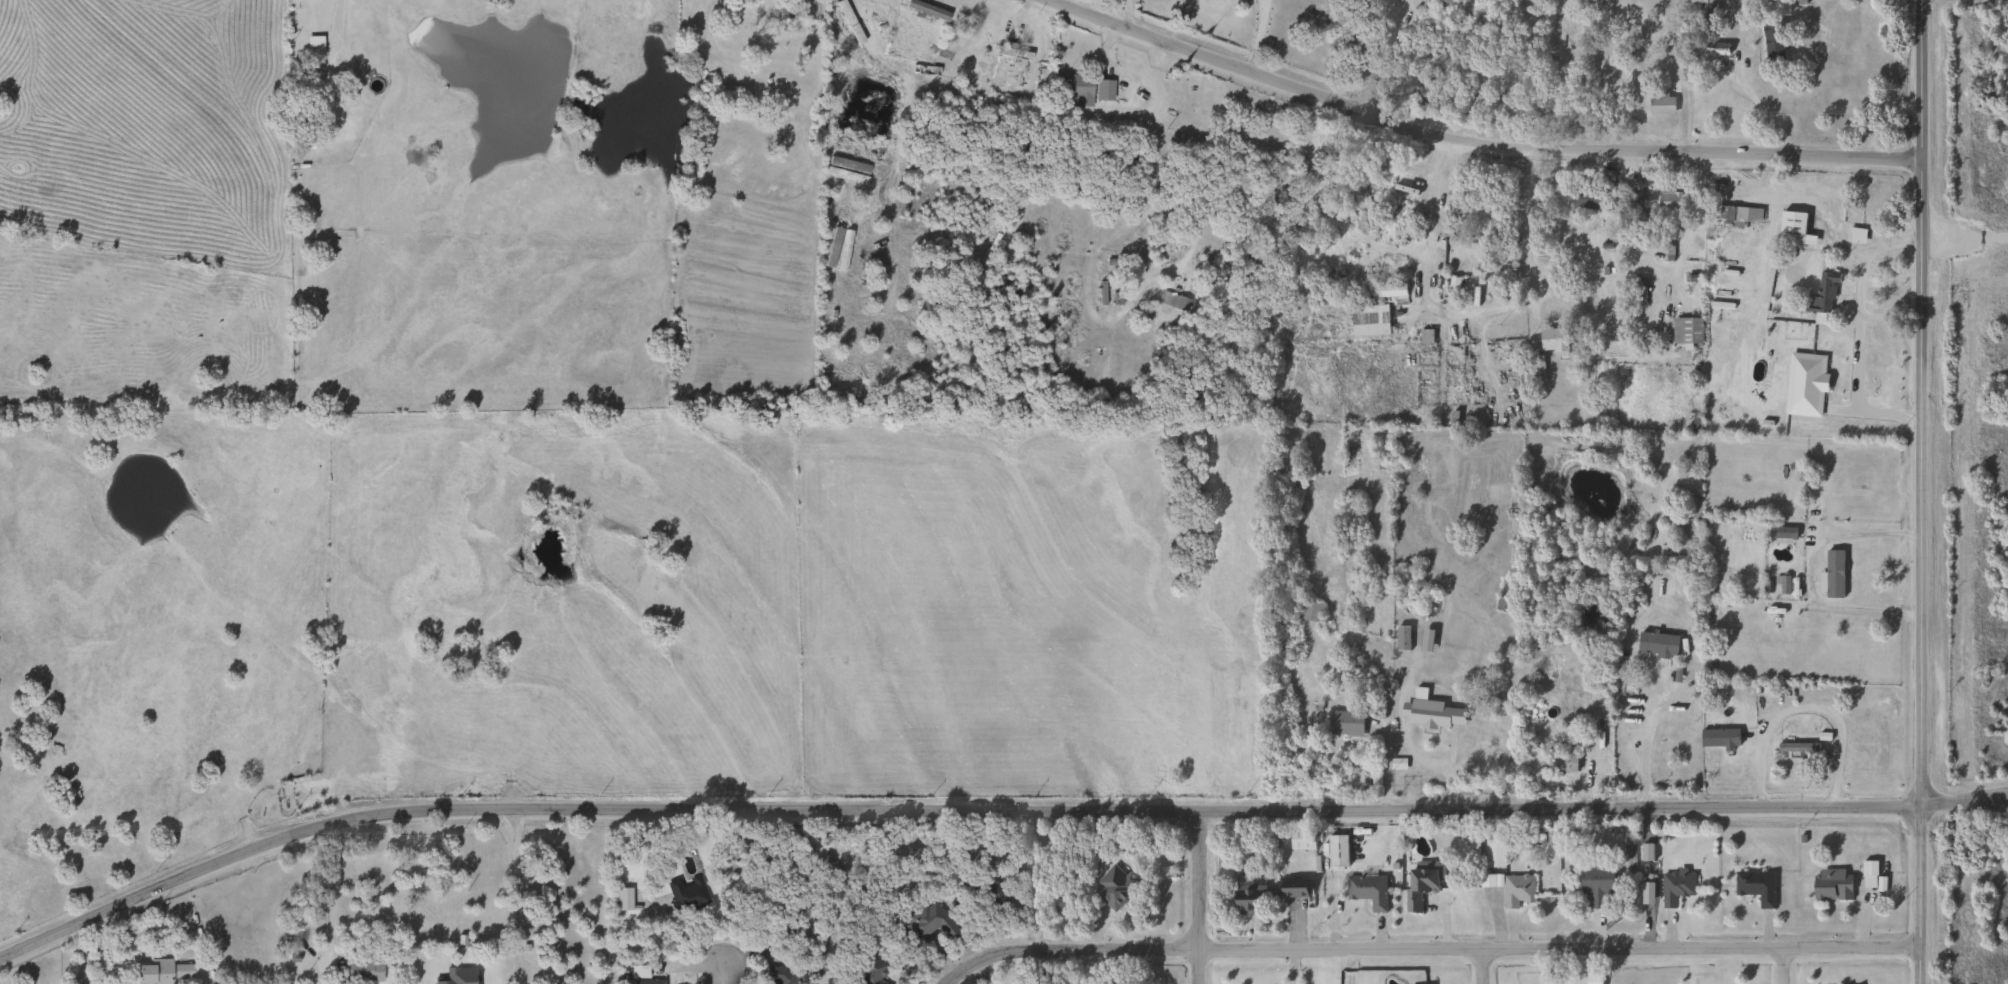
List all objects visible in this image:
road: (1059, 2)
building: (1715, 6)
building: (925, 10)
road: (1255, 35)
building: (1773, 43)
building: (1010, 53)
road: (1383, 55)
building: (1073, 89)
building: (1101, 91)
building: (1661, 104)
road: (1768, 111)
road: (1472, 140)
building: (1605, 178)
building: (1591, 200)
building: (1670, 201)
building: (1635, 206)
building: (1734, 214)
building: (1792, 228)
building: (1854, 235)
building: (1390, 290)
building: (1822, 300)
building: (1176, 303)
road: (1891, 312)
road: (1469, 314)
building: (1369, 320)
road: (1859, 329)
building: (1687, 330)
building: (1552, 339)
road: (1923, 492)
building: (1782, 532)
road: (1808, 573)
building: (1834, 574)
building: (1310, 609)
building: (1402, 637)
building: (1663, 644)
road: (1803, 705)
building: (1434, 712)
building: (1345, 723)
building: (1719, 738)
building: (1797, 748)
road: (1644, 749)
building: (1560, 762)
road: (989, 809)
building: (1301, 839)
building: (1336, 850)
building: (1494, 855)
building: (1868, 874)
building: (1487, 880)
building: (1421, 881)
building: (1595, 883)
building: (1831, 884)
building: (1114, 886)
building: (1675, 886)
building: (1755, 886)
road: (331, 887)
building: (1292, 888)
road: (511, 889)
building: (1367, 890)
building: (1517, 890)
building: (685, 893)
building: (1247, 895)
building: (622, 898)
road: (1200, 898)
building: (928, 923)
road: (1424, 946)
road: (1483, 965)
road: (1784, 965)
building: (359, 970)
road: (723, 971)
building: (869, 971)
building: (161, 972)
building: (473, 972)
building: (777, 975)
building: (1593, 979)
building: (647, 981)

